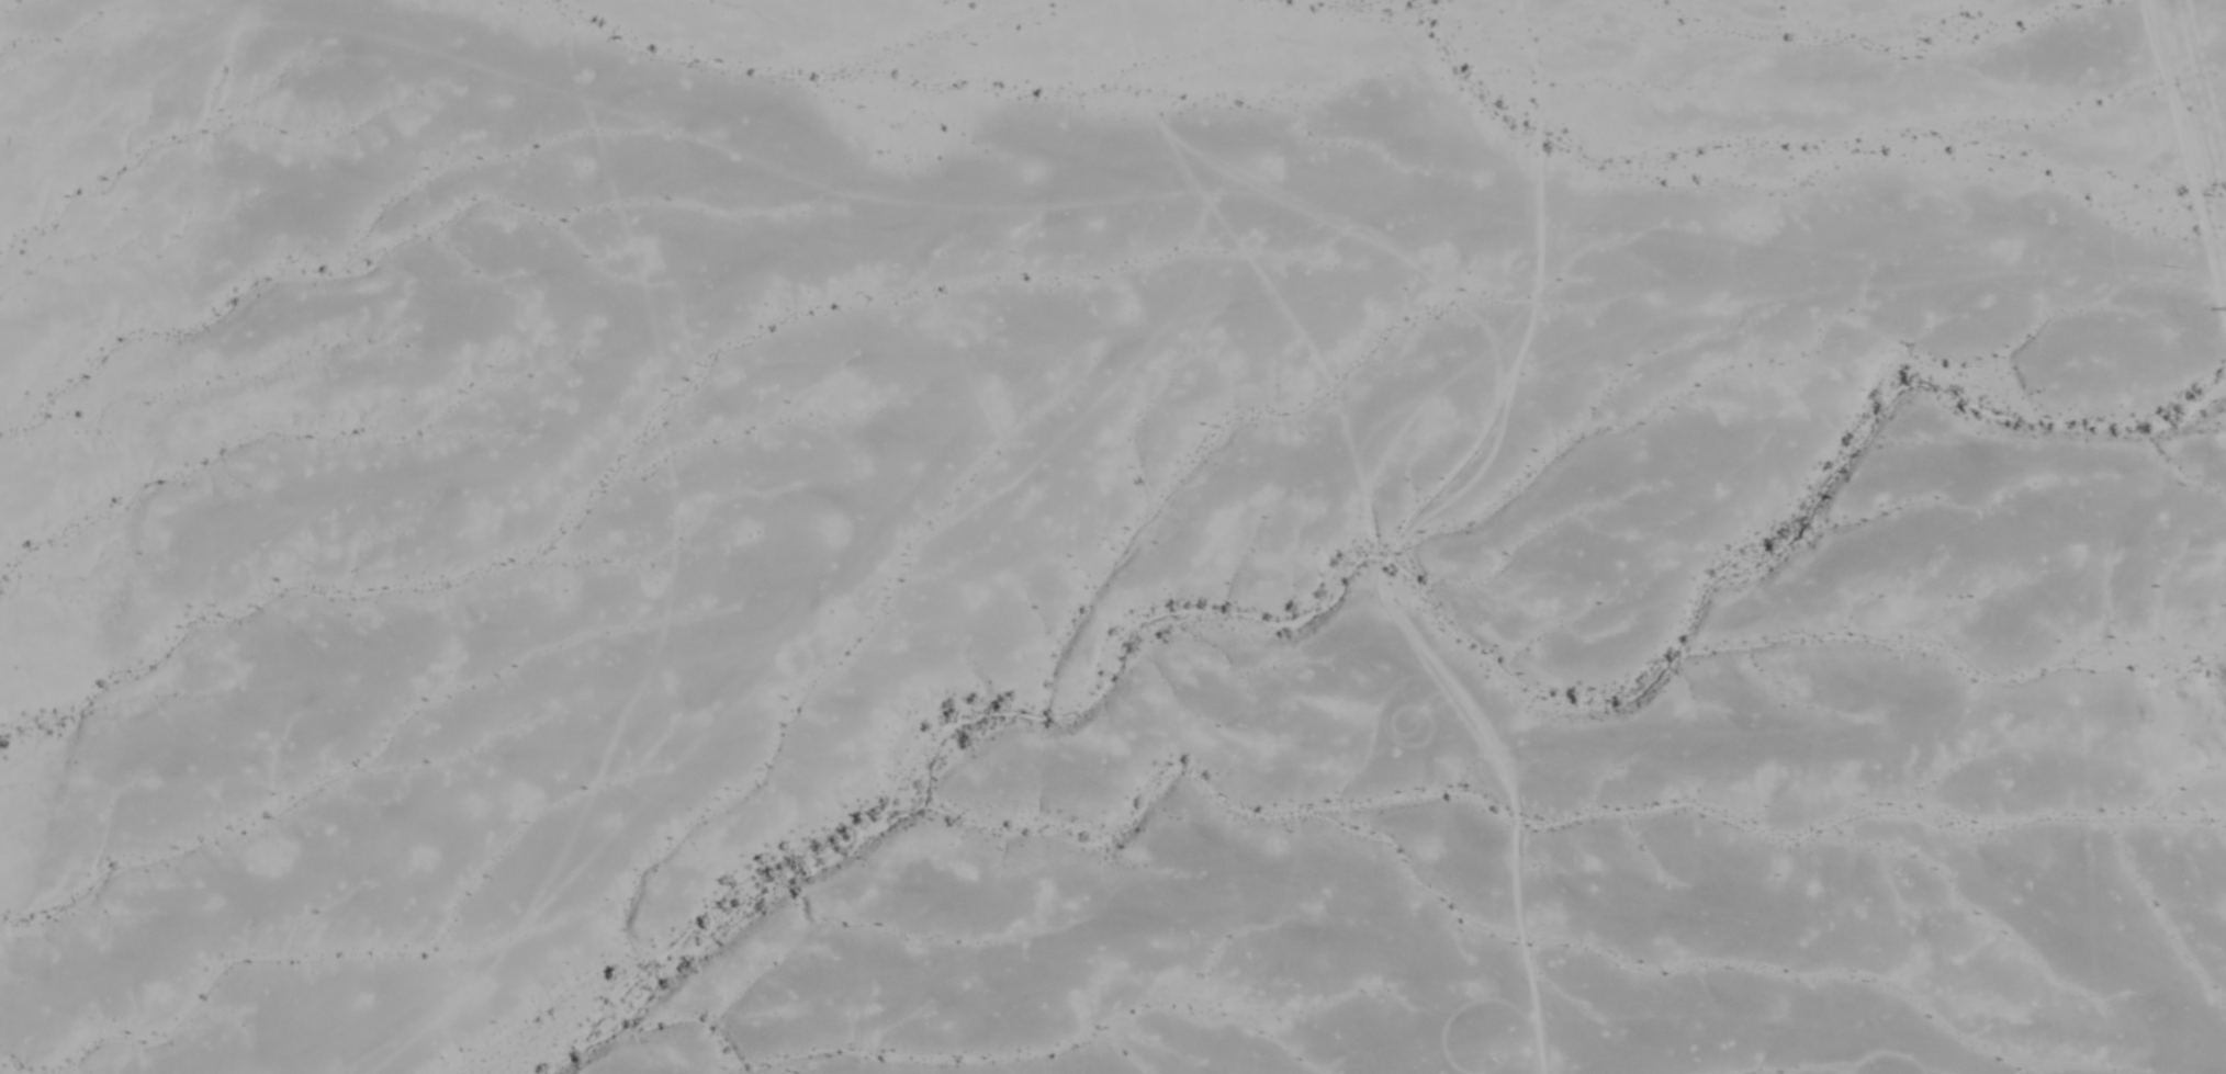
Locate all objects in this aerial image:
road: (2188, 161)

